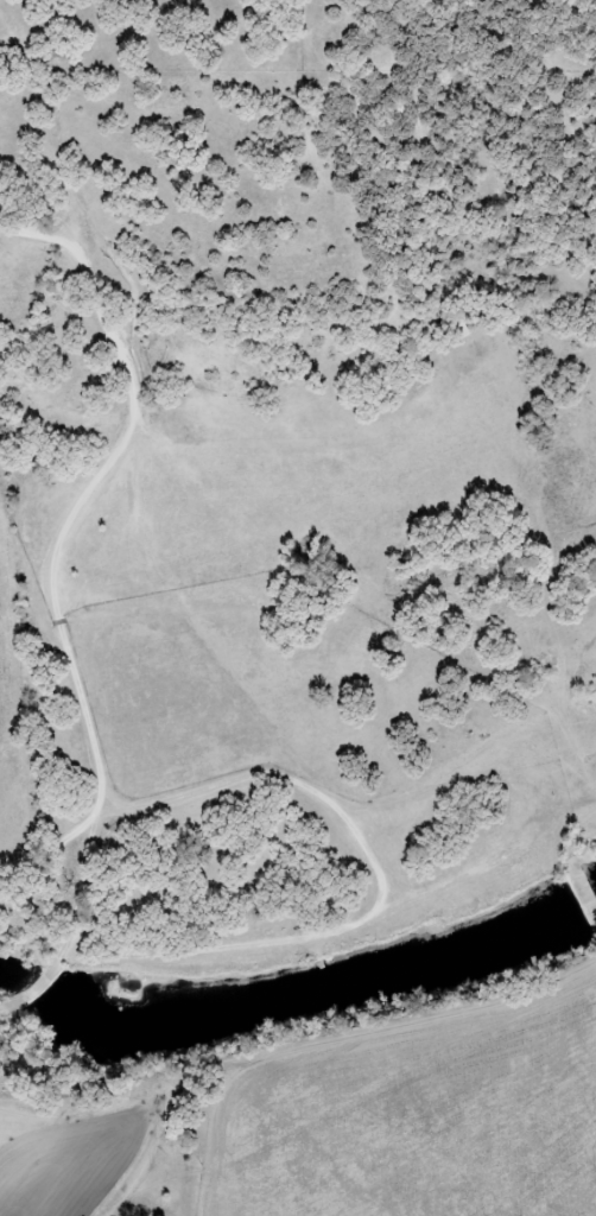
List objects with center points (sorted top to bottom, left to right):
river: (303, 984)

